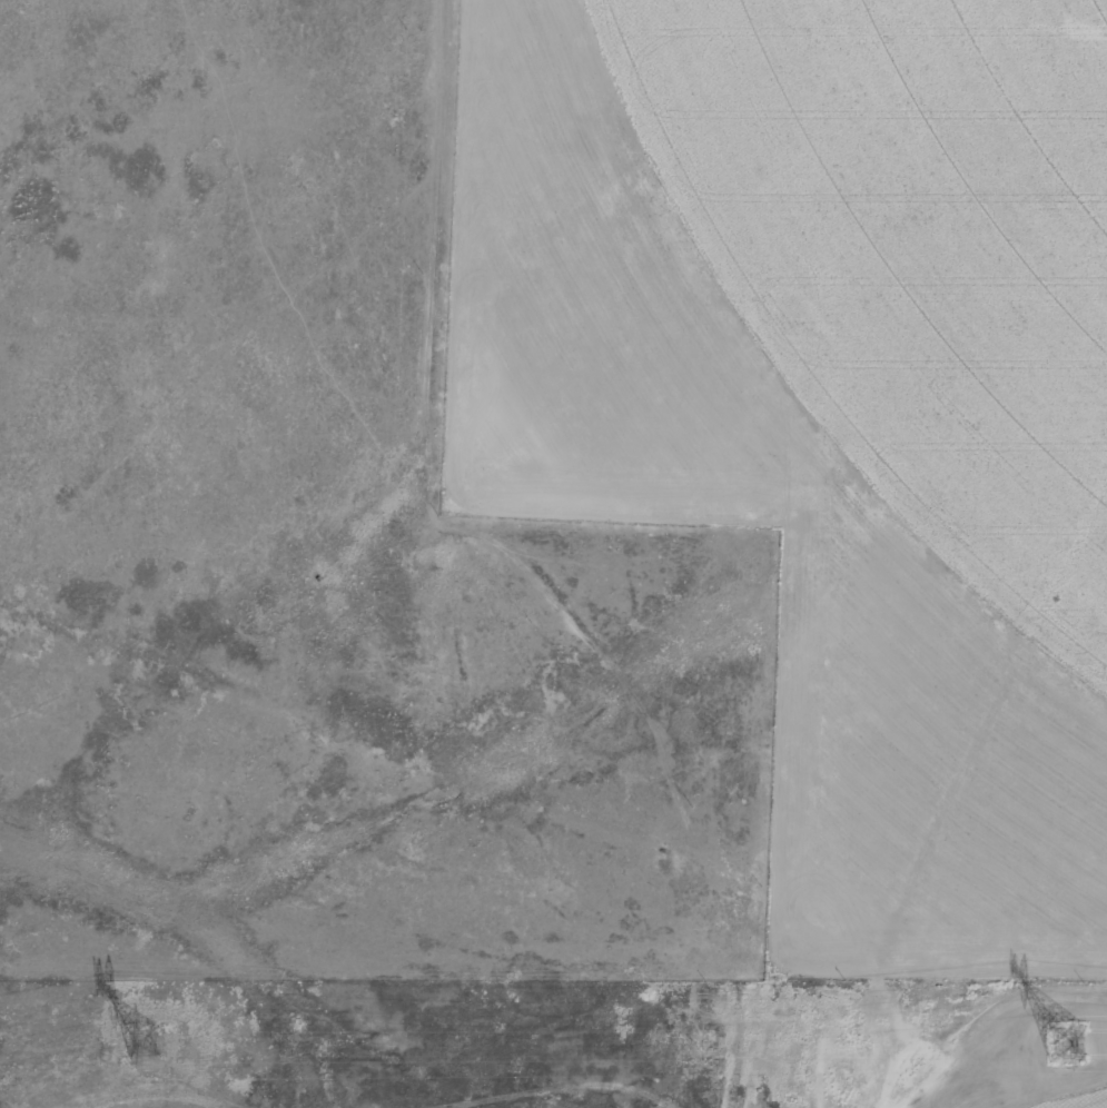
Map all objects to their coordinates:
power tower: (1065, 1042)
power tower: (139, 1043)
road: (838, 1090)

